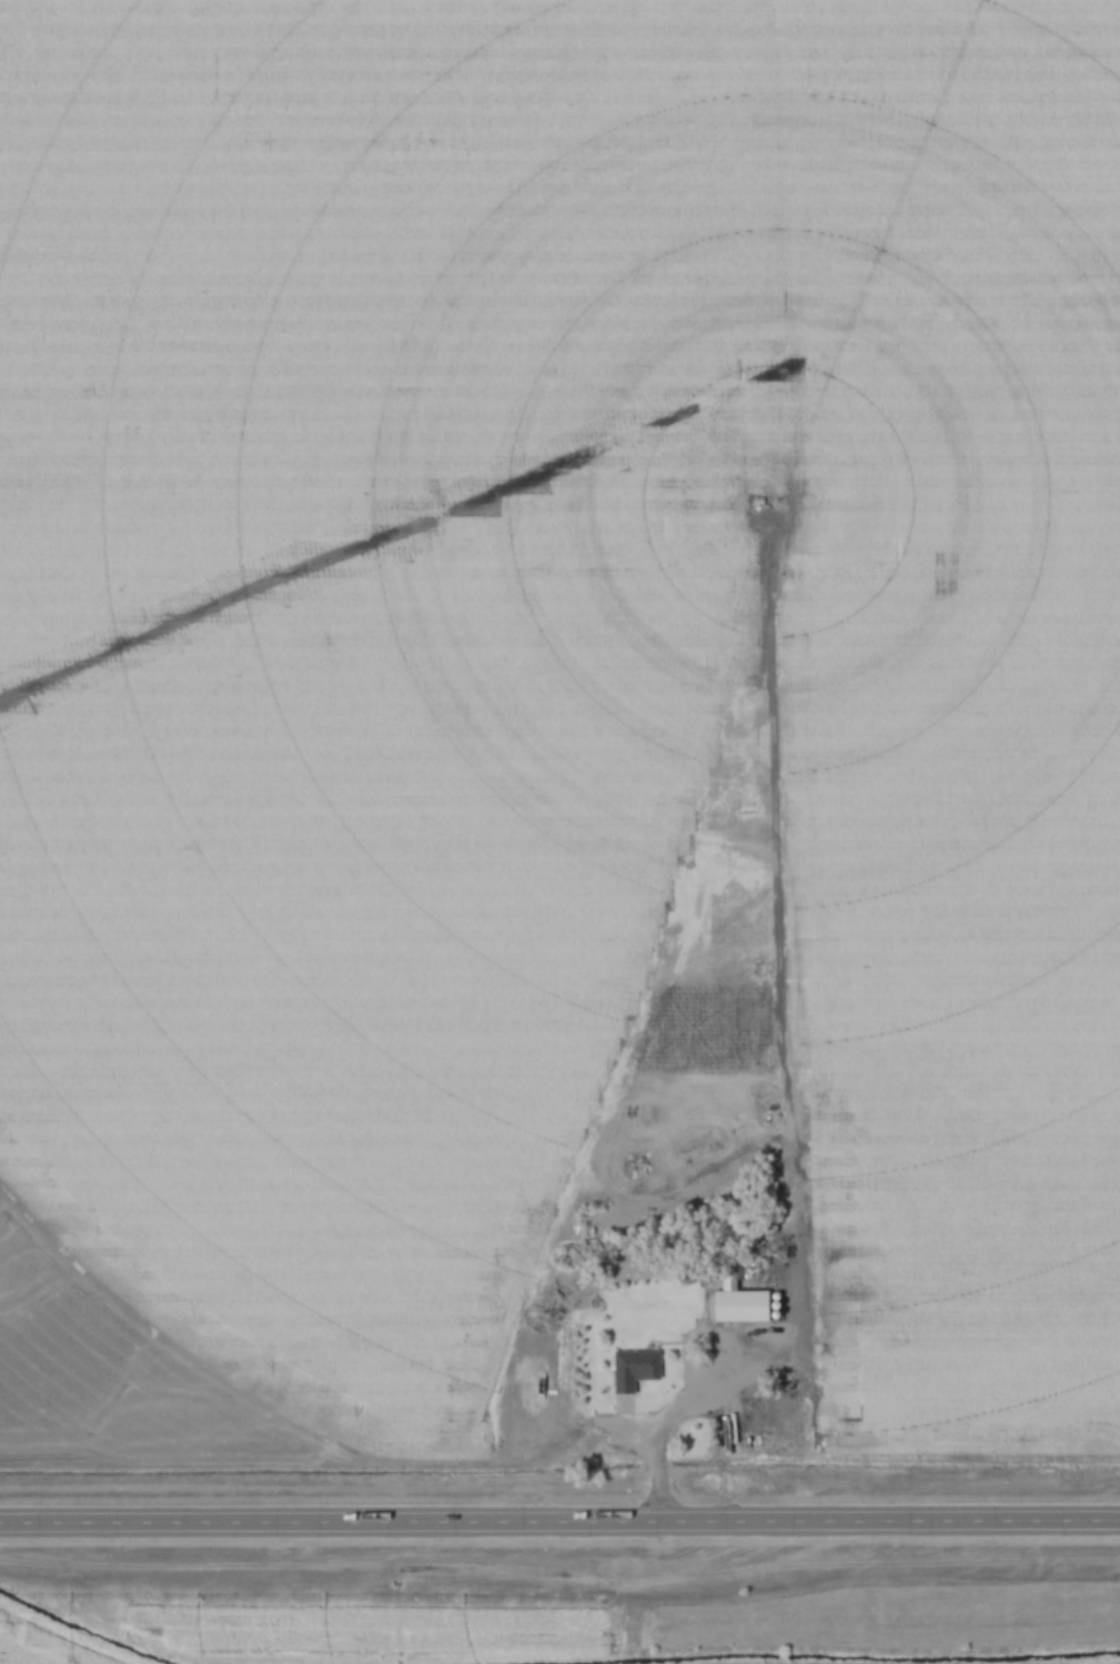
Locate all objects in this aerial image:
building: (740, 1302)
building: (635, 1370)
road: (726, 1425)
building: (794, 1441)
road: (559, 1523)

